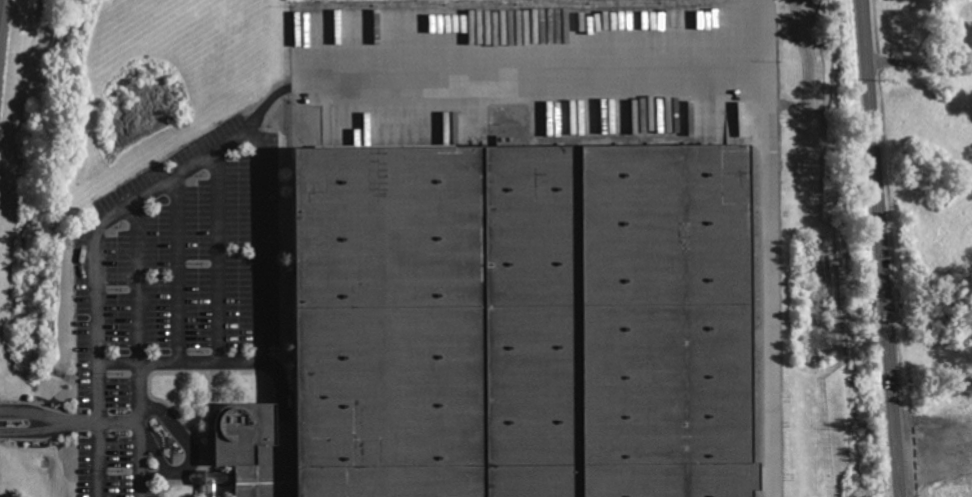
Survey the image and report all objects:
road: (919, 63)
road: (531, 76)
road: (268, 97)
road: (236, 132)
road: (762, 248)
road: (882, 248)
road: (218, 252)
road: (177, 266)
road: (138, 278)
building: (512, 327)
road: (116, 361)
road: (55, 420)
road: (96, 421)
road: (137, 428)
road: (152, 446)
road: (191, 447)
flagpole: (175, 454)
road: (935, 456)
road: (97, 459)

